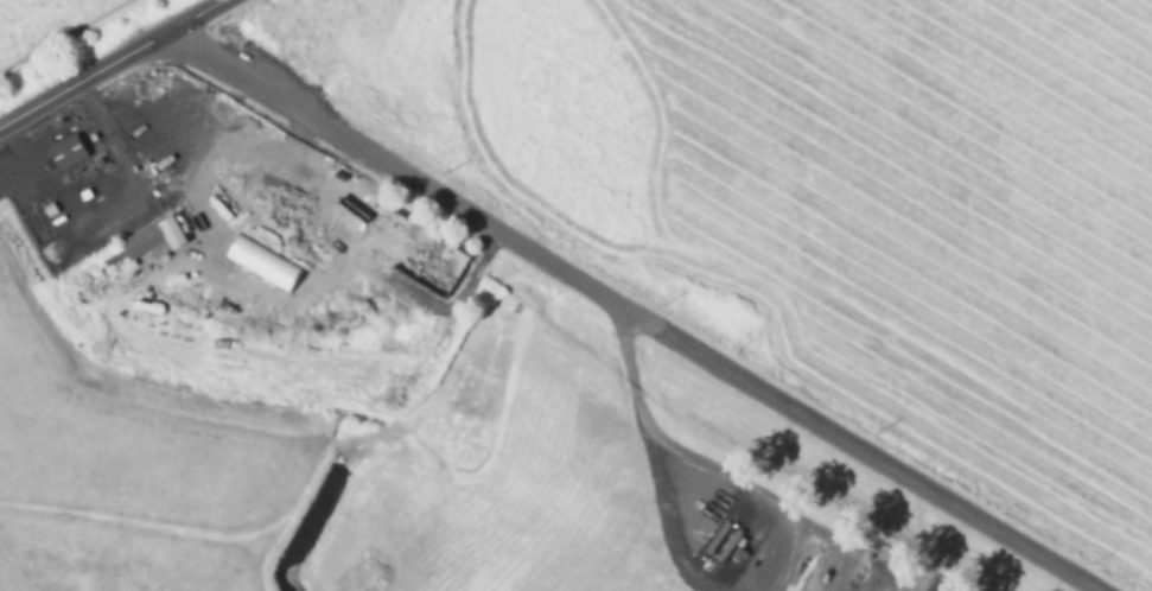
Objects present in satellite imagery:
crop: (30, 17)
road: (193, 17)
road: (82, 80)
road: (97, 115)
building: (66, 150)
building: (144, 154)
building: (146, 235)
building: (407, 278)
road: (631, 312)
road: (629, 361)
road: (746, 484)
road: (664, 510)

